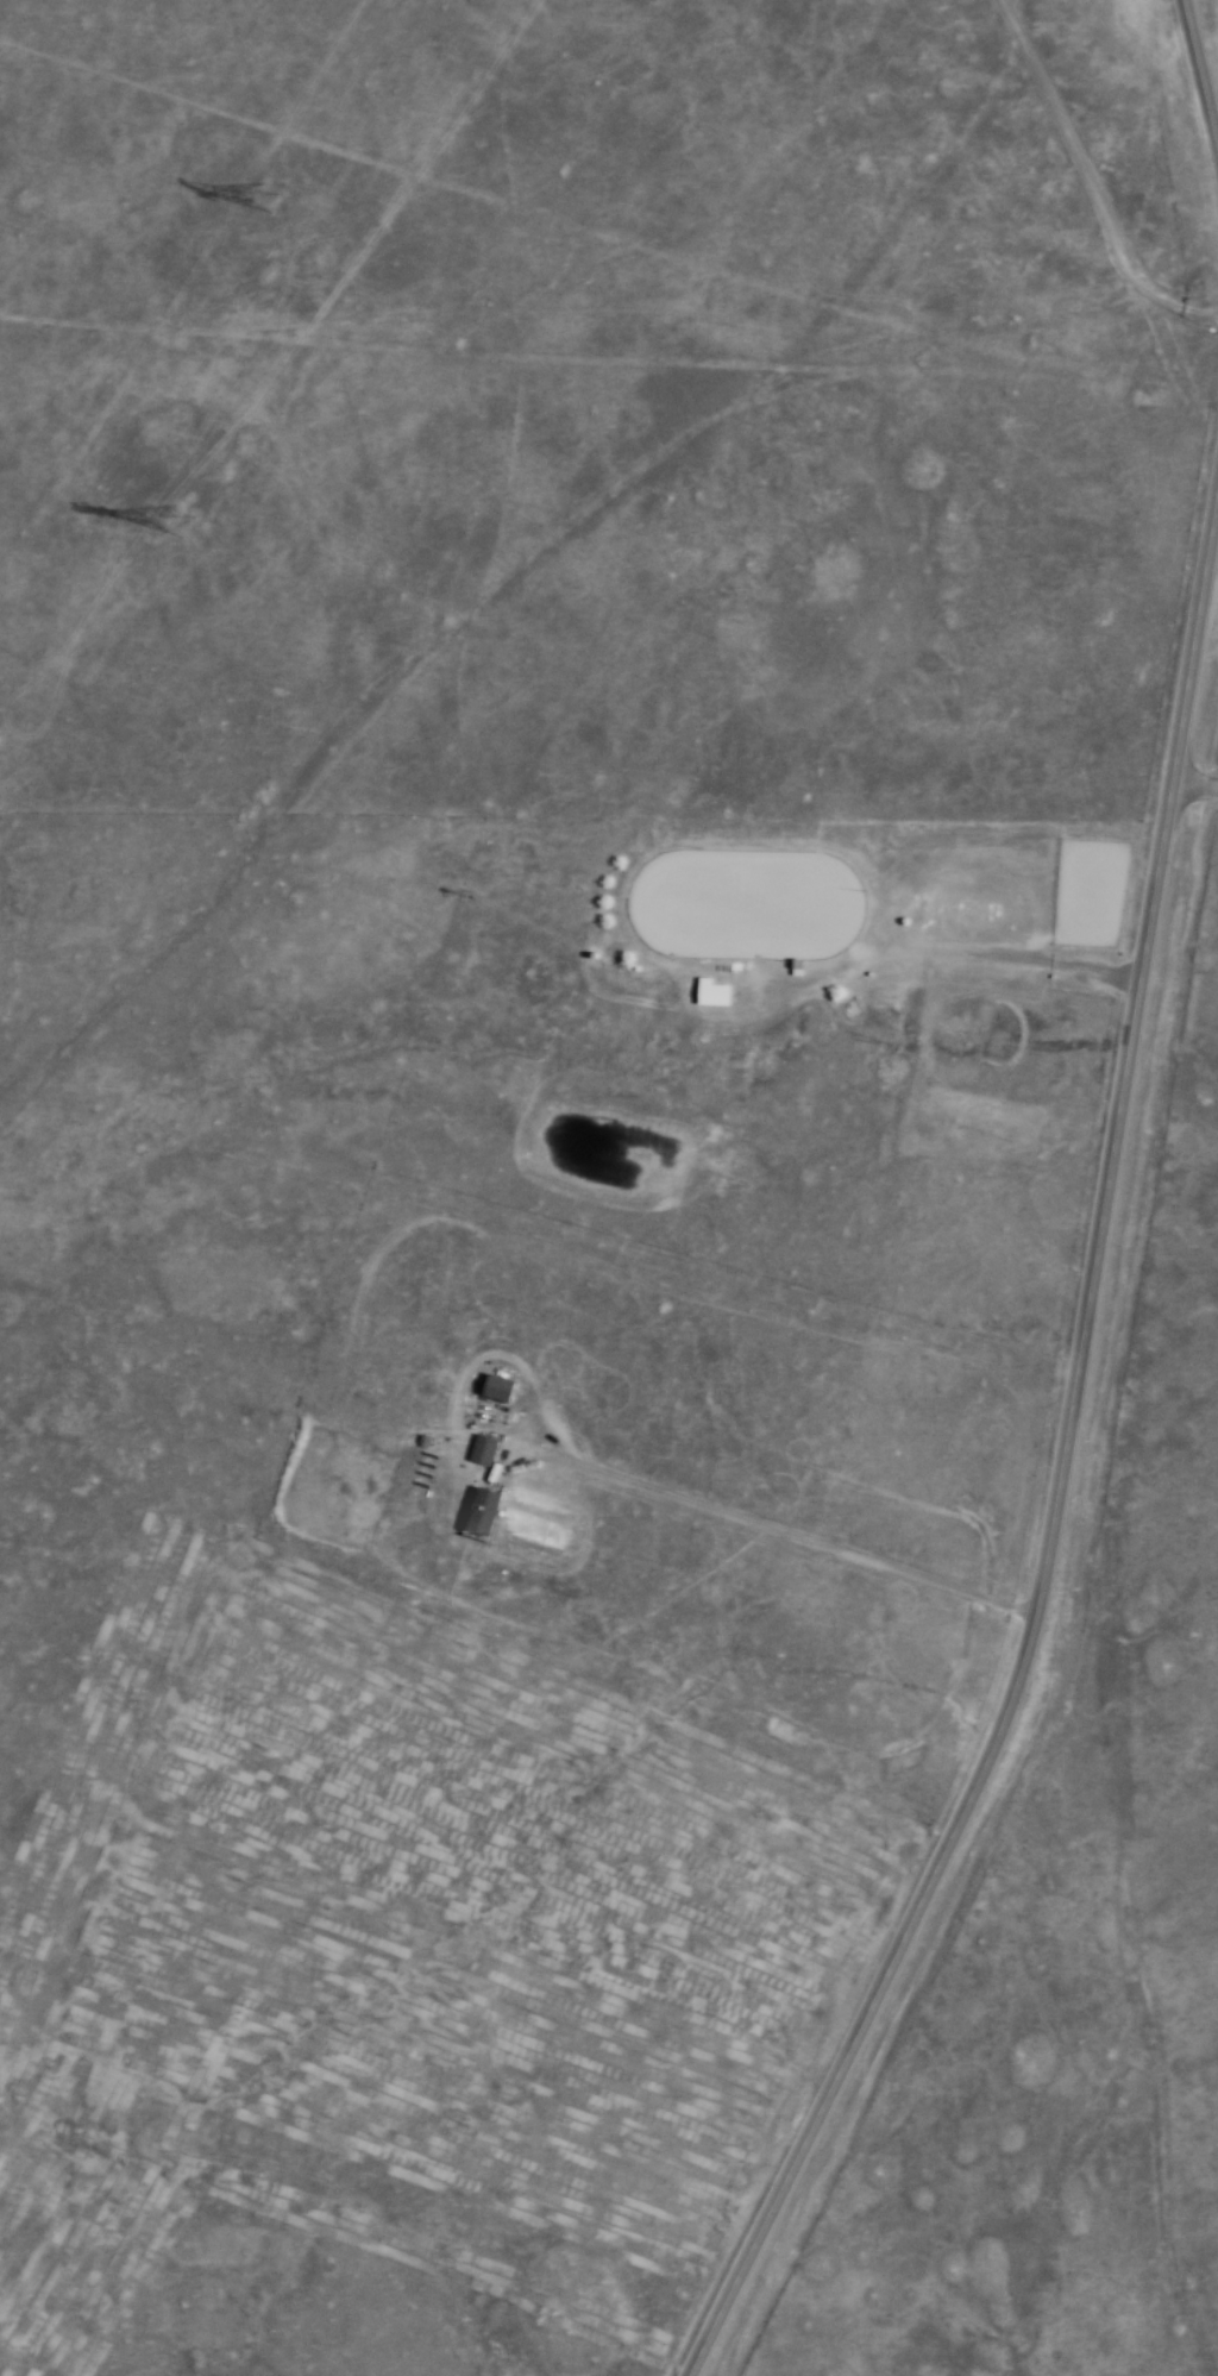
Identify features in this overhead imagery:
road: (1197, 90)
power tower: (271, 188)
power tower: (183, 519)
road: (1193, 784)
building: (495, 1387)
building: (481, 1449)
road: (1056, 1461)
building: (481, 1511)

